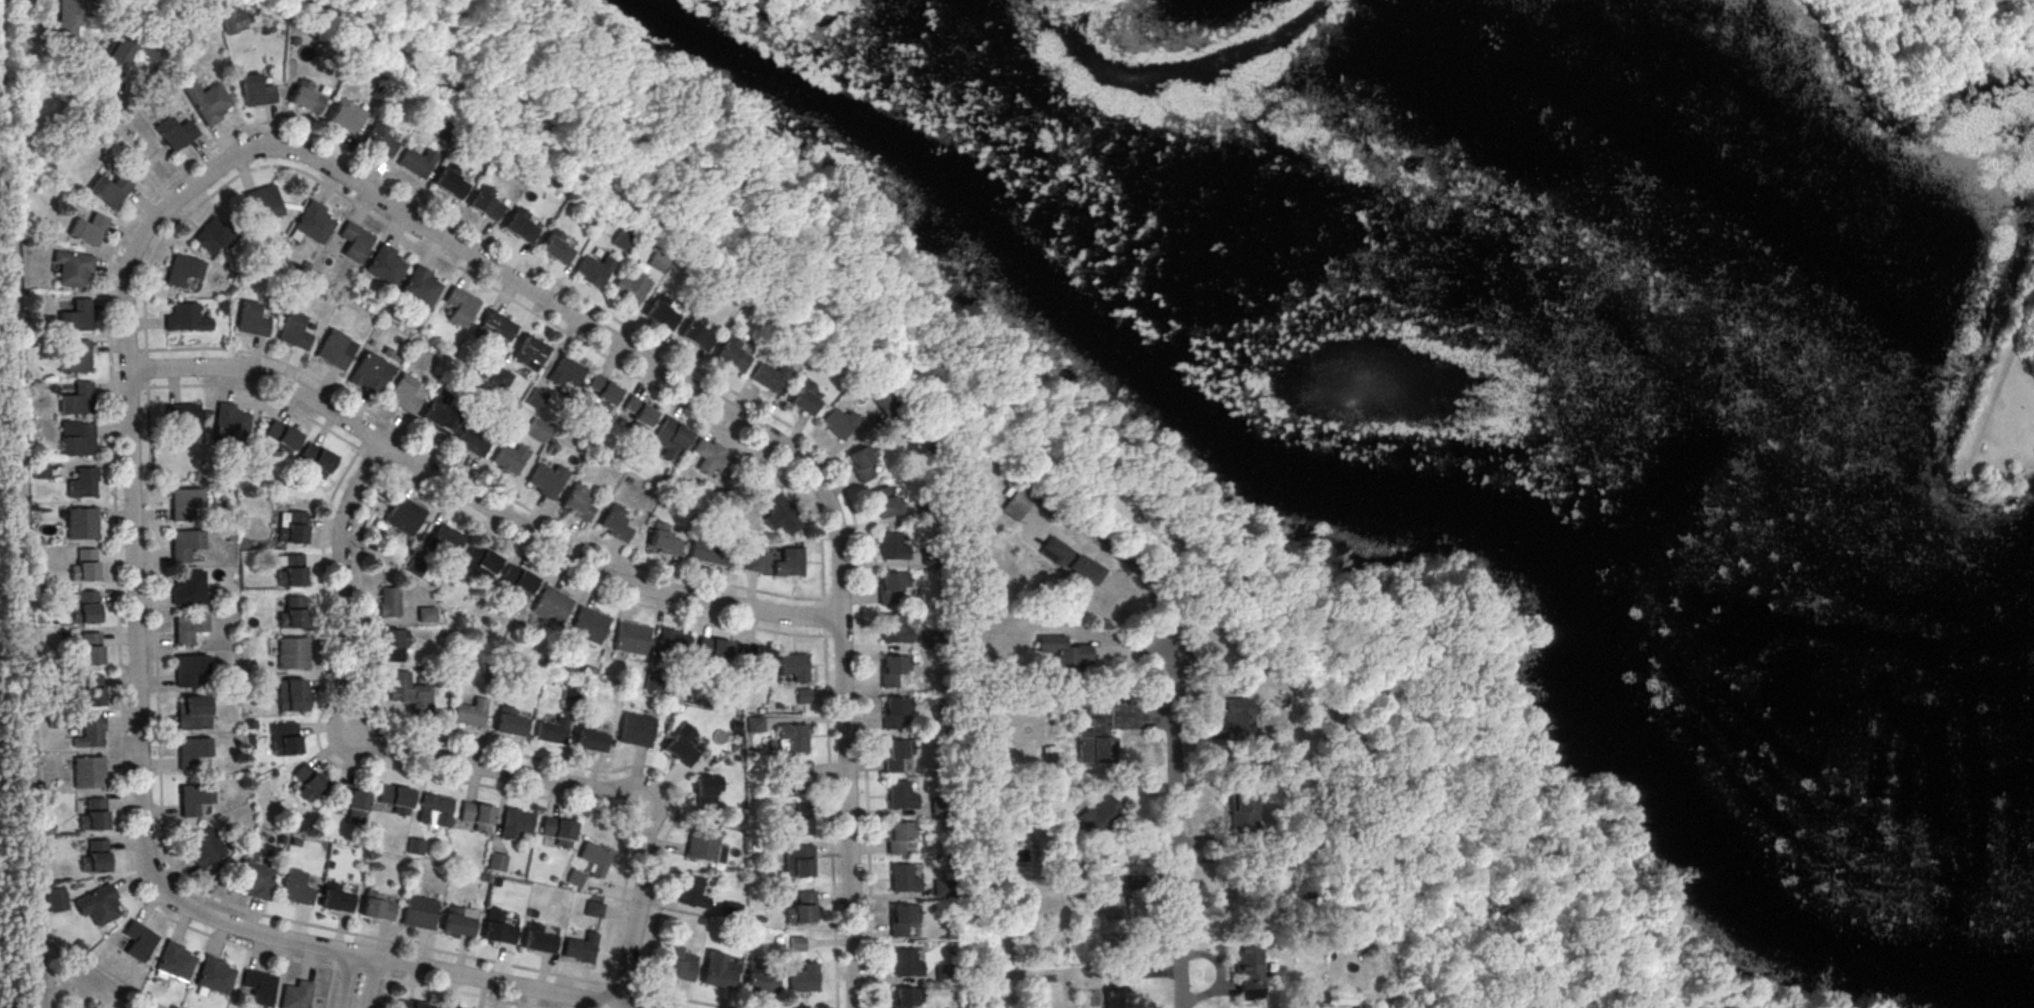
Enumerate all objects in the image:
road: (1047, 1)
road: (505, 8)
building: (69, 17)
road: (457, 17)
building: (228, 19)
building: (125, 53)
building: (254, 90)
building: (304, 96)
building: (207, 101)
road: (660, 114)
road: (107, 116)
building: (345, 116)
building: (174, 132)
building: (444, 132)
road: (556, 135)
road: (713, 137)
building: (377, 139)
building: (415, 162)
building: (448, 180)
road: (682, 188)
building: (109, 189)
building: (263, 200)
building: (484, 202)
building: (312, 223)
building: (520, 225)
building: (87, 229)
building: (213, 236)
building: (621, 240)
building: (353, 241)
building: (554, 246)
building: (657, 261)
building: (384, 265)
river: (1416, 265)
building: (72, 267)
building: (183, 269)
building: (593, 270)
road: (483, 283)
road: (770, 284)
building: (420, 286)
road: (765, 287)
building: (628, 289)
building: (459, 306)
building: (661, 311)
building: (76, 316)
building: (186, 318)
building: (251, 319)
road: (833, 324)
building: (496, 328)
building: (293, 331)
building: (696, 333)
building: (335, 350)
building: (532, 351)
building: (732, 353)
building: (75, 357)
road: (2006, 361)
building: (370, 372)
building: (565, 372)
building: (770, 376)
road: (974, 378)
building: (501, 379)
building: (603, 390)
building: (403, 394)
road: (707, 397)
building: (535, 398)
park: (1429, 398)
building: (77, 399)
building: (805, 399)
building: (886, 404)
park: (1990, 409)
building: (439, 411)
building: (638, 413)
building: (184, 418)
road: (1001, 420)
building: (839, 422)
building: (229, 425)
building: (538, 431)
building: (282, 438)
building: (471, 438)
building: (670, 438)
building: (79, 440)
road: (806, 440)
building: (509, 457)
building: (713, 458)
road: (112, 460)
building: (318, 460)
building: (862, 461)
building: (40, 471)
building: (547, 478)
road: (479, 480)
building: (82, 483)
building: (883, 502)
building: (185, 503)
road: (478, 503)
building: (577, 503)
building: (1012, 506)
building: (924, 507)
building: (780, 513)
building: (404, 516)
road: (15, 521)
road: (479, 523)
building: (81, 524)
building: (615, 524)
building: (294, 528)
building: (444, 539)
building: (663, 540)
building: (185, 544)
building: (892, 546)
building: (711, 551)
road: (1116, 552)
building: (930, 556)
building: (1071, 560)
building: (481, 561)
building: (790, 562)
building: (755, 564)
building: (84, 566)
building: (413, 567)
building: (292, 571)
road: (1220, 576)
building: (518, 581)
building: (891, 585)
building: (188, 588)
building: (388, 601)
building: (552, 606)
building: (83, 609)
building: (426, 613)
building: (294, 614)
building: (588, 625)
road: (1321, 625)
building: (189, 628)
building: (895, 630)
road: (1467, 631)
road: (1183, 634)
building: (631, 638)
building: (931, 640)
road: (1119, 642)
road: (1449, 642)
building: (392, 643)
building: (670, 643)
building: (88, 650)
building: (715, 651)
building: (292, 653)
building: (1065, 656)
road: (1307, 656)
building: (756, 659)
building: (490, 666)
building: (795, 666)
building: (189, 669)
building: (893, 670)
road: (1392, 674)
building: (654, 682)
building: (90, 691)
building: (409, 691)
building: (571, 693)
building: (291, 696)
building: (804, 696)
building: (192, 710)
building: (895, 711)
building: (469, 713)
road: (1139, 717)
building: (1238, 719)
building: (510, 723)
building: (755, 725)
building: (552, 730)
building: (635, 730)
building: (90, 733)
building: (1095, 736)
building: (793, 737)
road: (1199, 737)
building: (590, 738)
building: (284, 739)
road: (341, 744)
building: (680, 745)
road: (1481, 748)
building: (193, 751)
road: (503, 752)
building: (896, 754)
road: (444, 759)
road: (1485, 759)
road: (1421, 765)
road: (395, 767)
building: (89, 772)
building: (799, 779)
building: (308, 782)
road: (653, 788)
building: (704, 792)
building: (900, 796)
road: (1466, 798)
building: (195, 799)
building: (397, 799)
road: (830, 803)
building: (353, 804)
building: (1242, 805)
building: (939, 806)
road: (140, 809)
building: (435, 811)
building: (94, 814)
building: (477, 816)
road: (1441, 816)
building: (799, 821)
building: (514, 824)
building: (1098, 824)
road: (1174, 825)
track: (1447, 829)
building: (558, 831)
building: (899, 836)
road: (1214, 842)
building: (701, 844)
building: (415, 846)
building: (205, 847)
road: (1143, 853)
building: (95, 856)
building: (595, 858)
building: (497, 862)
building: (801, 863)
road: (1441, 872)
building: (575, 879)
building: (903, 879)
building: (254, 880)
road: (1150, 881)
road: (1467, 881)
road: (193, 888)
building: (296, 888)
building: (941, 889)
building: (692, 892)
road: (1465, 895)
building: (336, 898)
building: (1113, 898)
building: (56, 900)
building: (98, 905)
road: (1462, 905)
building: (377, 908)
road: (1531, 908)
building: (802, 909)
building: (594, 910)
building: (731, 911)
building: (419, 913)
building: (901, 919)
road: (1563, 920)
building: (702, 922)
building: (457, 923)
building: (498, 929)
road: (1522, 929)
building: (538, 940)
building: (138, 941)
building: (796, 944)
road: (1572, 944)
building: (581, 949)
building: (176, 961)
building: (678, 964)
building: (905, 964)
road: (342, 969)
building: (719, 971)
building: (1248, 971)
road: (1564, 971)
road: (1148, 973)
building: (943, 974)
road: (1218, 974)
building: (215, 976)
building: (761, 977)
building: (804, 979)
road: (344, 981)
road: (1587, 981)
road: (375, 984)
building: (259, 987)
road: (330, 988)
building: (1113, 988)
road: (1226, 989)
road: (384, 993)
building: (296, 995)
building: (906, 997)
building: (411, 1005)
building: (444, 1007)

